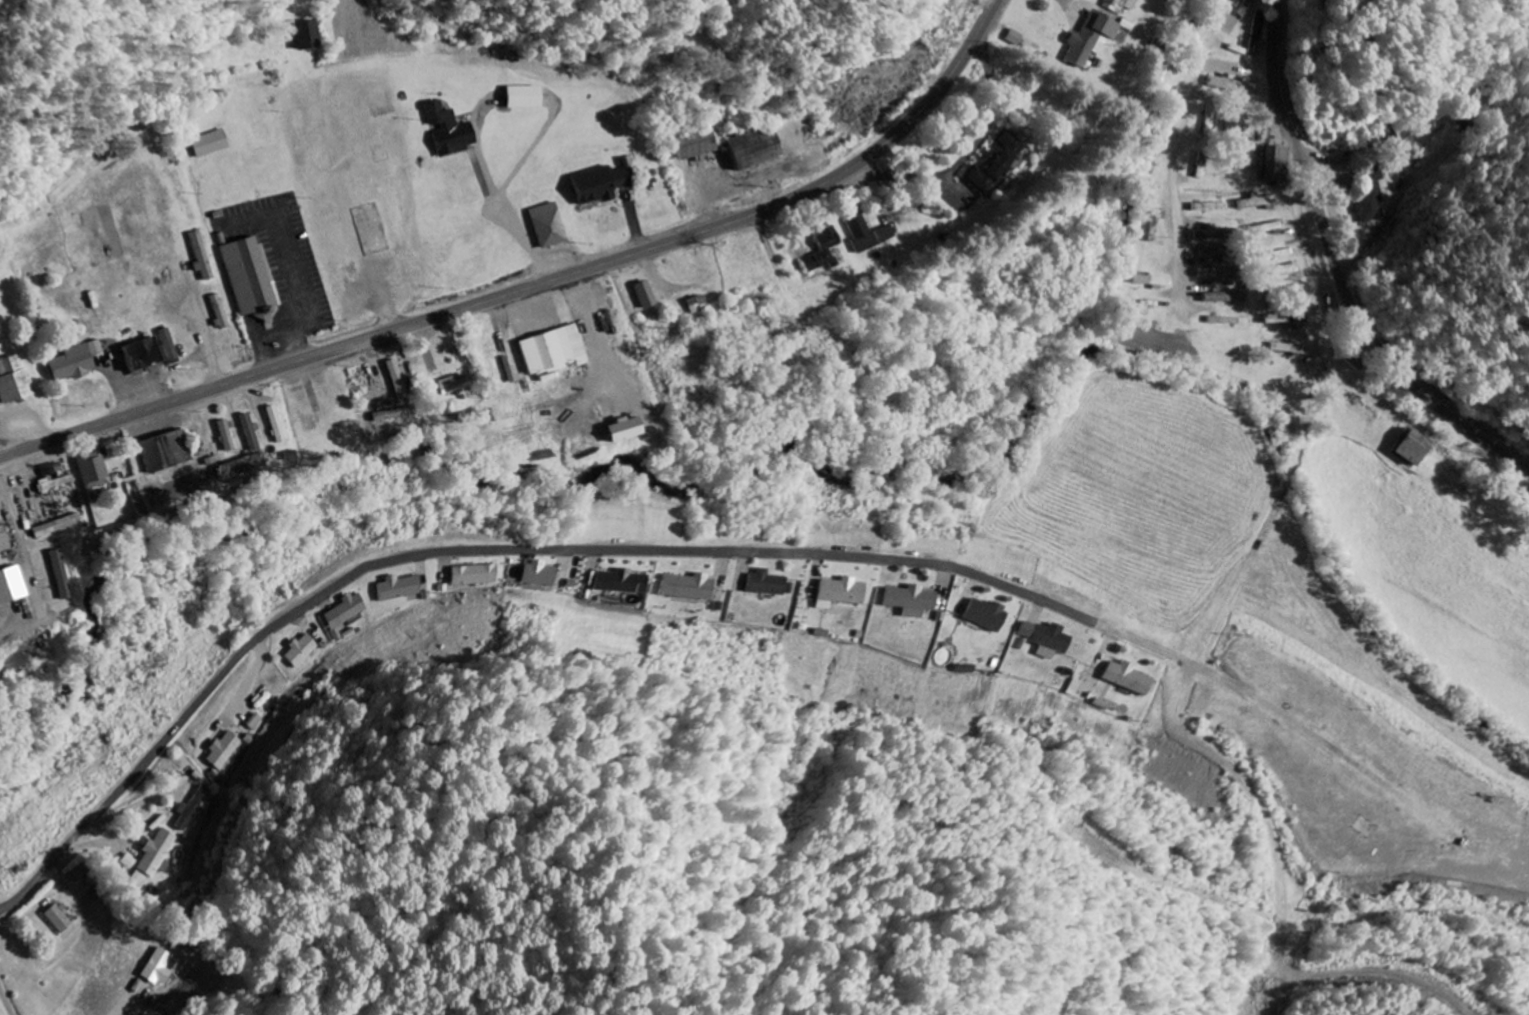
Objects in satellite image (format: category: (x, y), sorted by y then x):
building: (1121, 5)
building: (1260, 33)
building: (307, 35)
building: (1092, 38)
building: (1245, 89)
building: (526, 97)
building: (450, 130)
building: (697, 143)
building: (212, 144)
building: (756, 148)
building: (996, 163)
building: (1275, 164)
road: (59, 181)
building: (605, 182)
building: (1373, 199)
building: (1258, 202)
building: (550, 225)
building: (1267, 228)
building: (868, 233)
building: (1209, 234)
building: (825, 251)
building: (1212, 252)
building: (202, 257)
building: (1284, 271)
road: (1338, 272)
building: (1216, 273)
building: (252, 277)
building: (1150, 280)
road: (538, 286)
building: (646, 295)
building: (1226, 297)
building: (698, 305)
building: (1226, 320)
building: (1287, 320)
building: (1291, 349)
building: (553, 351)
building: (151, 352)
building: (75, 362)
building: (398, 378)
building: (14, 380)
building: (455, 387)
building: (224, 430)
building: (625, 430)
building: (250, 432)
building: (1415, 448)
building: (165, 451)
building: (94, 473)
building: (54, 478)
building: (45, 514)
building: (56, 526)
building: (548, 573)
building: (60, 574)
building: (483, 575)
building: (599, 578)
building: (630, 582)
building: (771, 583)
building: (10, 586)
building: (695, 587)
building: (405, 588)
building: (846, 591)
building: (915, 601)
building: (351, 611)
building: (991, 615)
building: (1052, 639)
building: (305, 651)
building: (1134, 678)
road: (198, 706)
building: (227, 750)
building: (194, 808)
building: (157, 852)
building: (130, 861)
building: (81, 872)
building: (59, 918)
building: (159, 964)
road: (8, 996)

